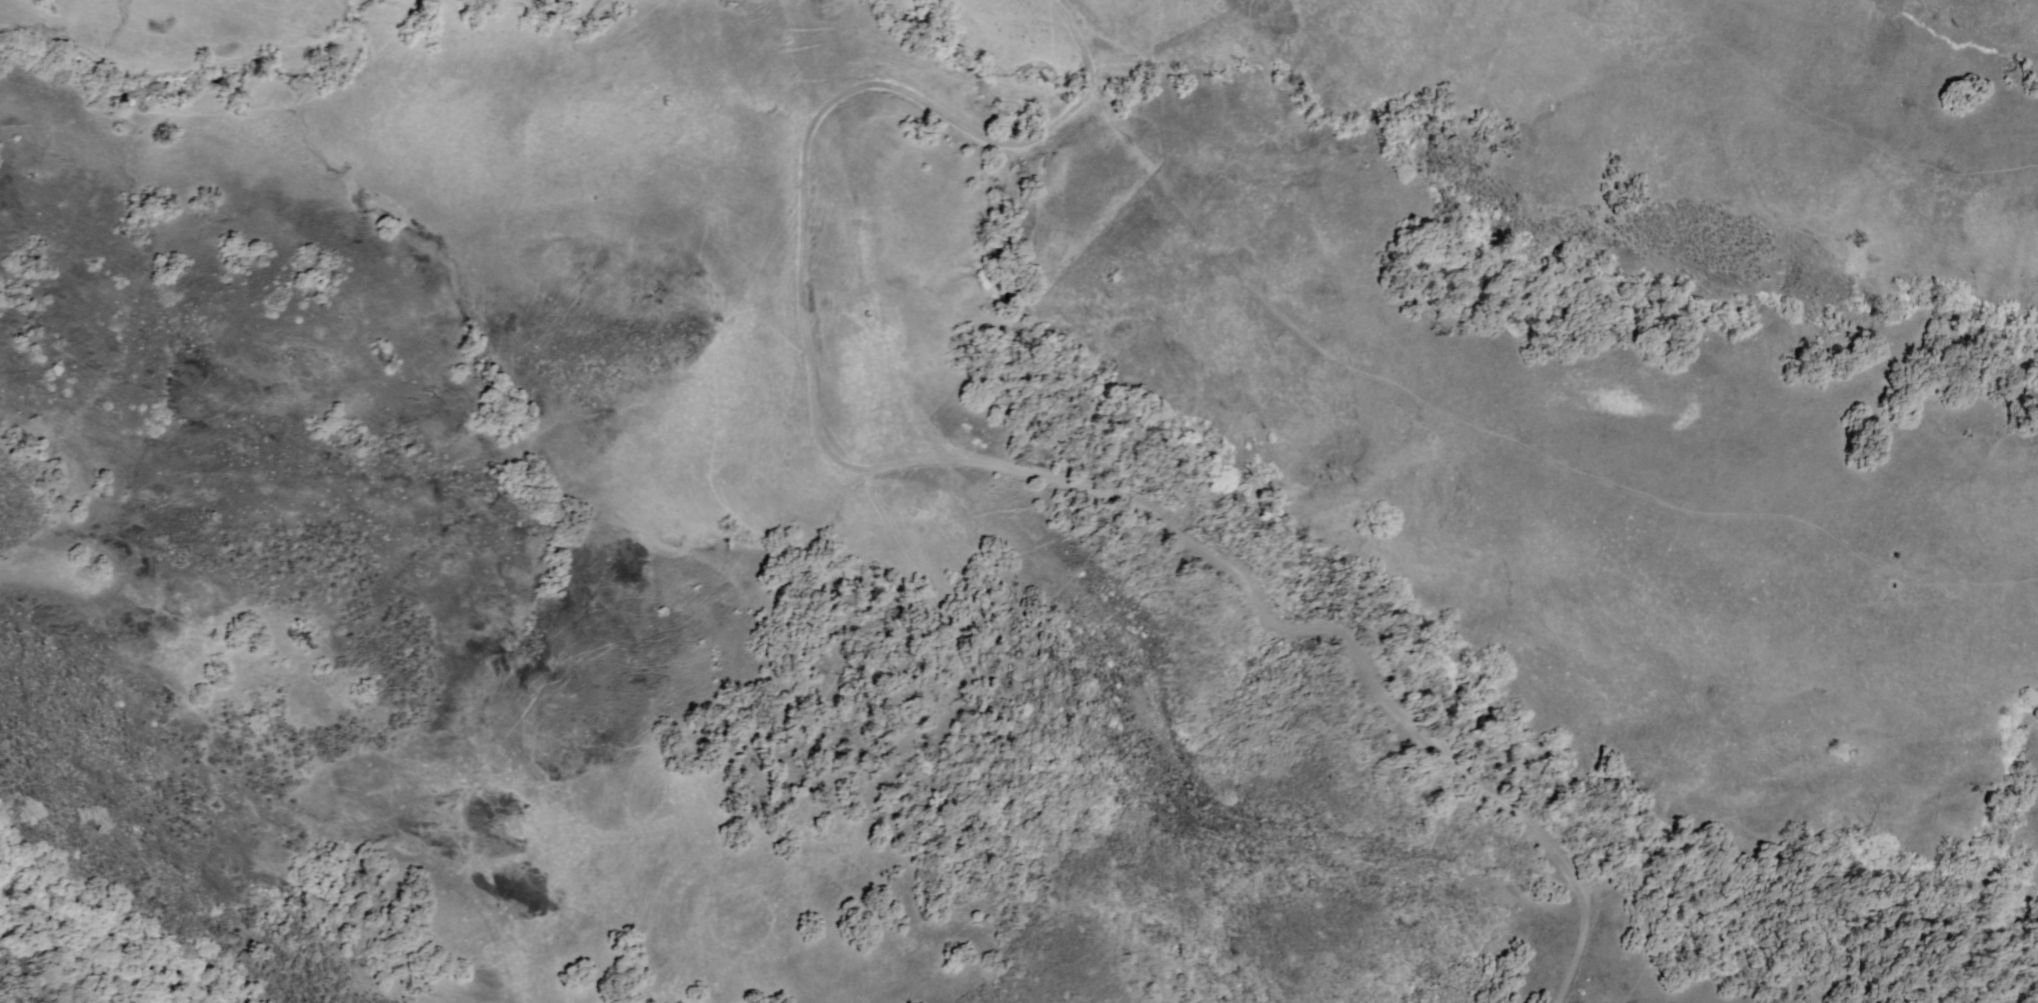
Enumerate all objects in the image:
road: (970, 463)
road: (117, 905)
road: (30, 986)

